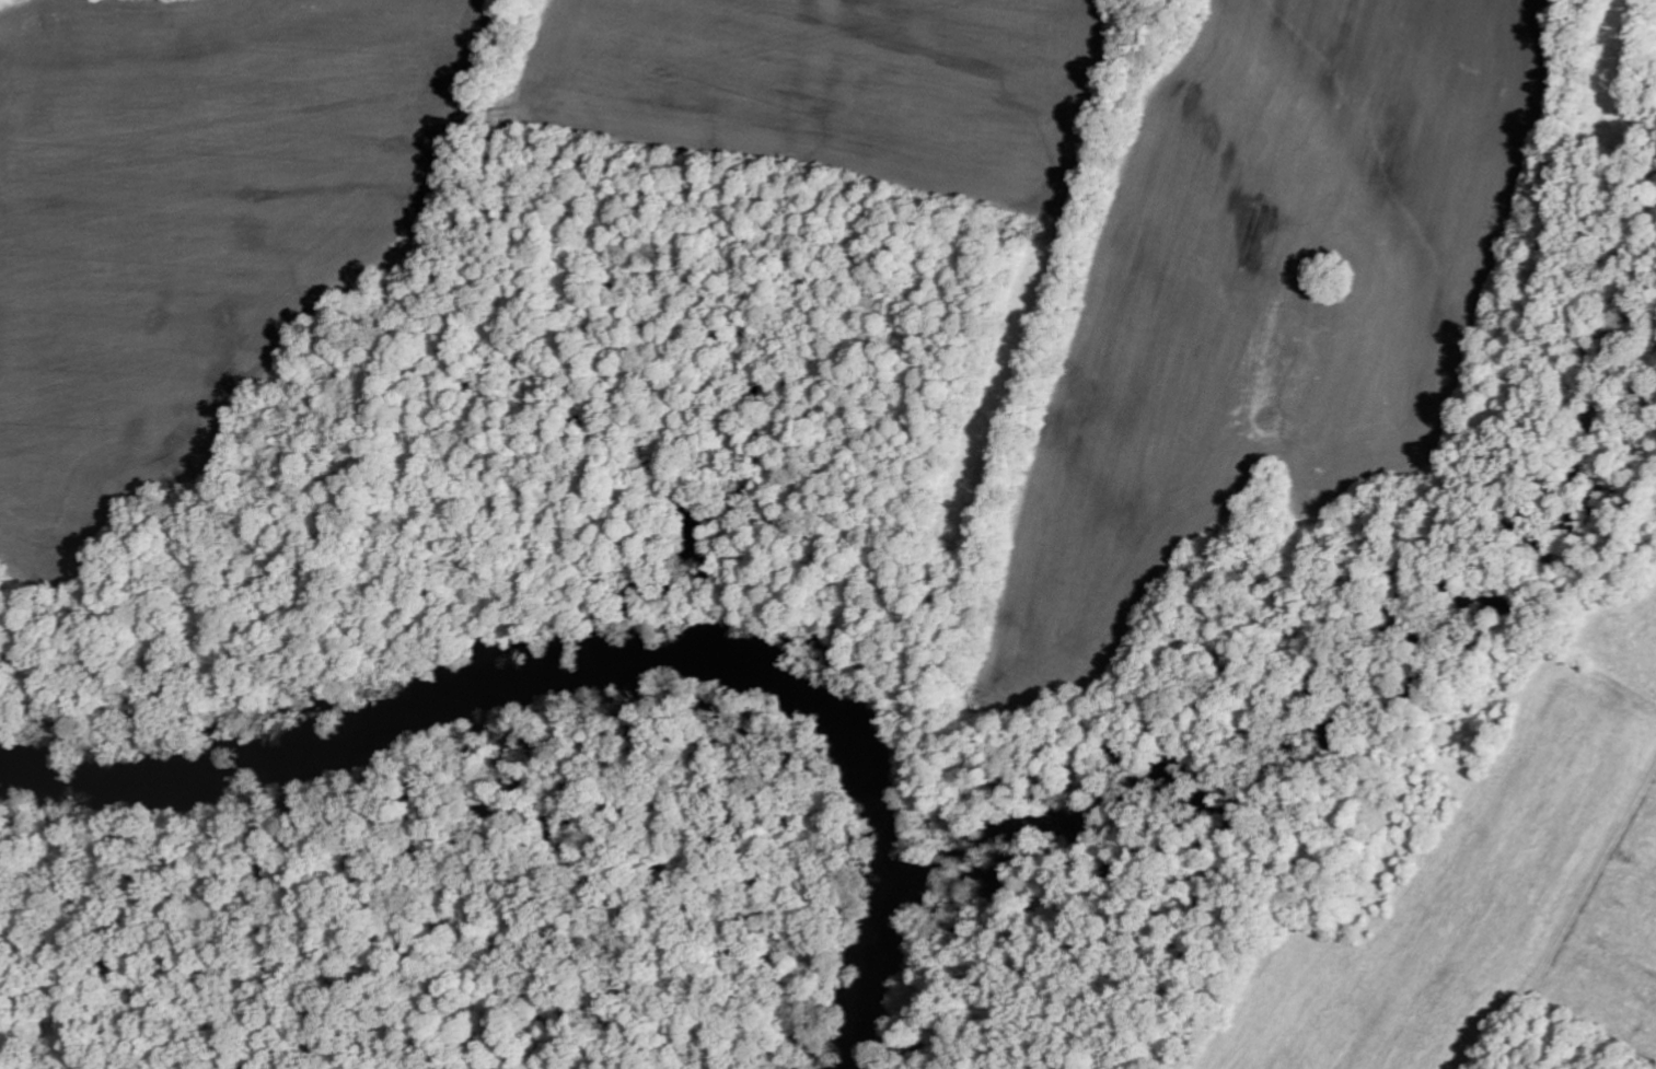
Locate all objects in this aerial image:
river: (613, 658)

